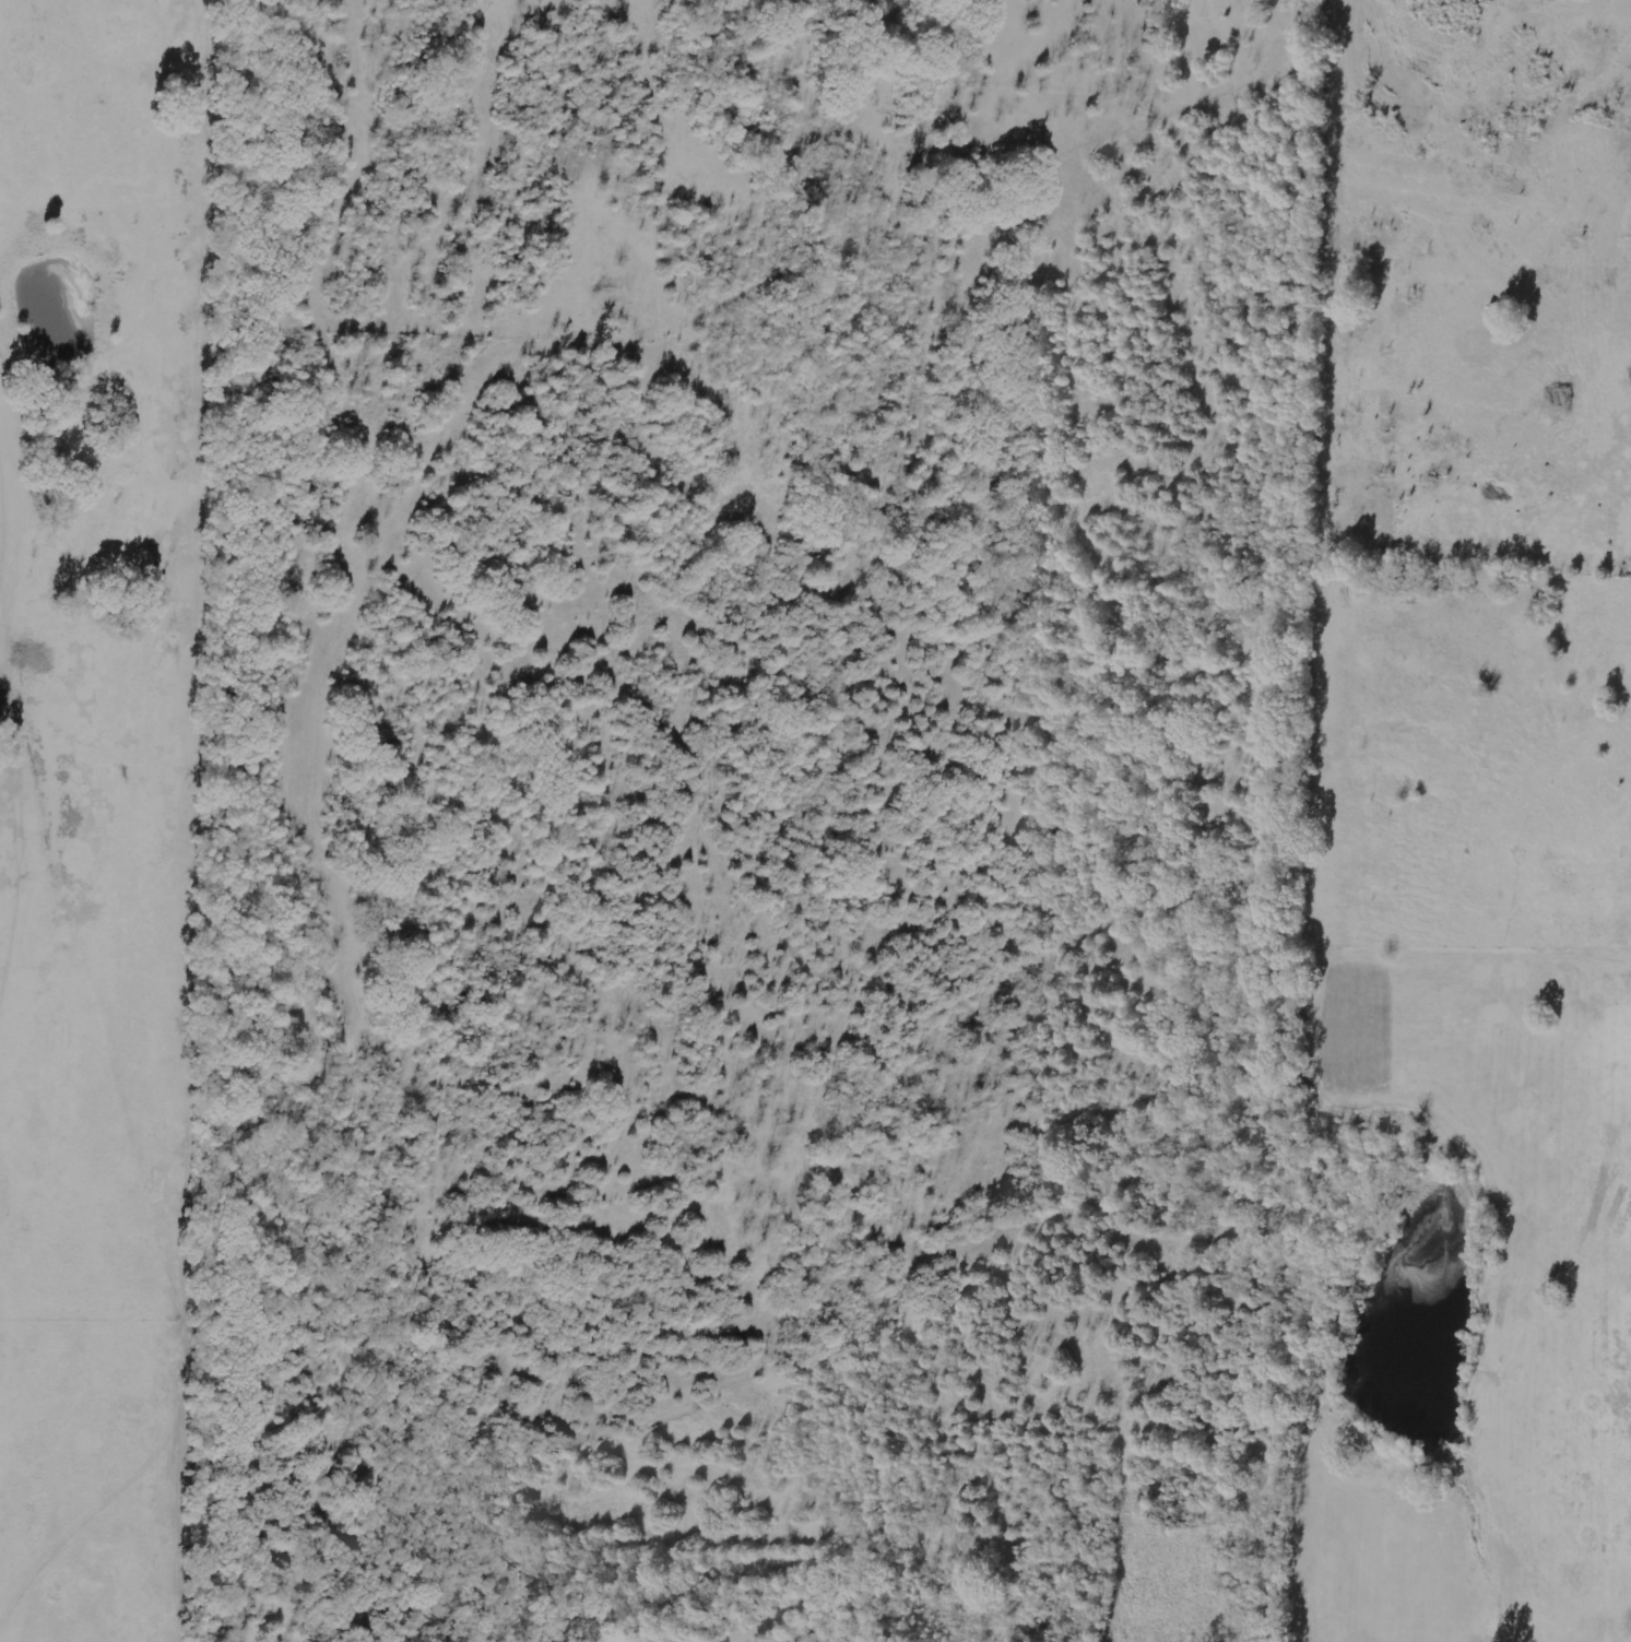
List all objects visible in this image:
road: (227, 1395)
road: (895, 1634)

